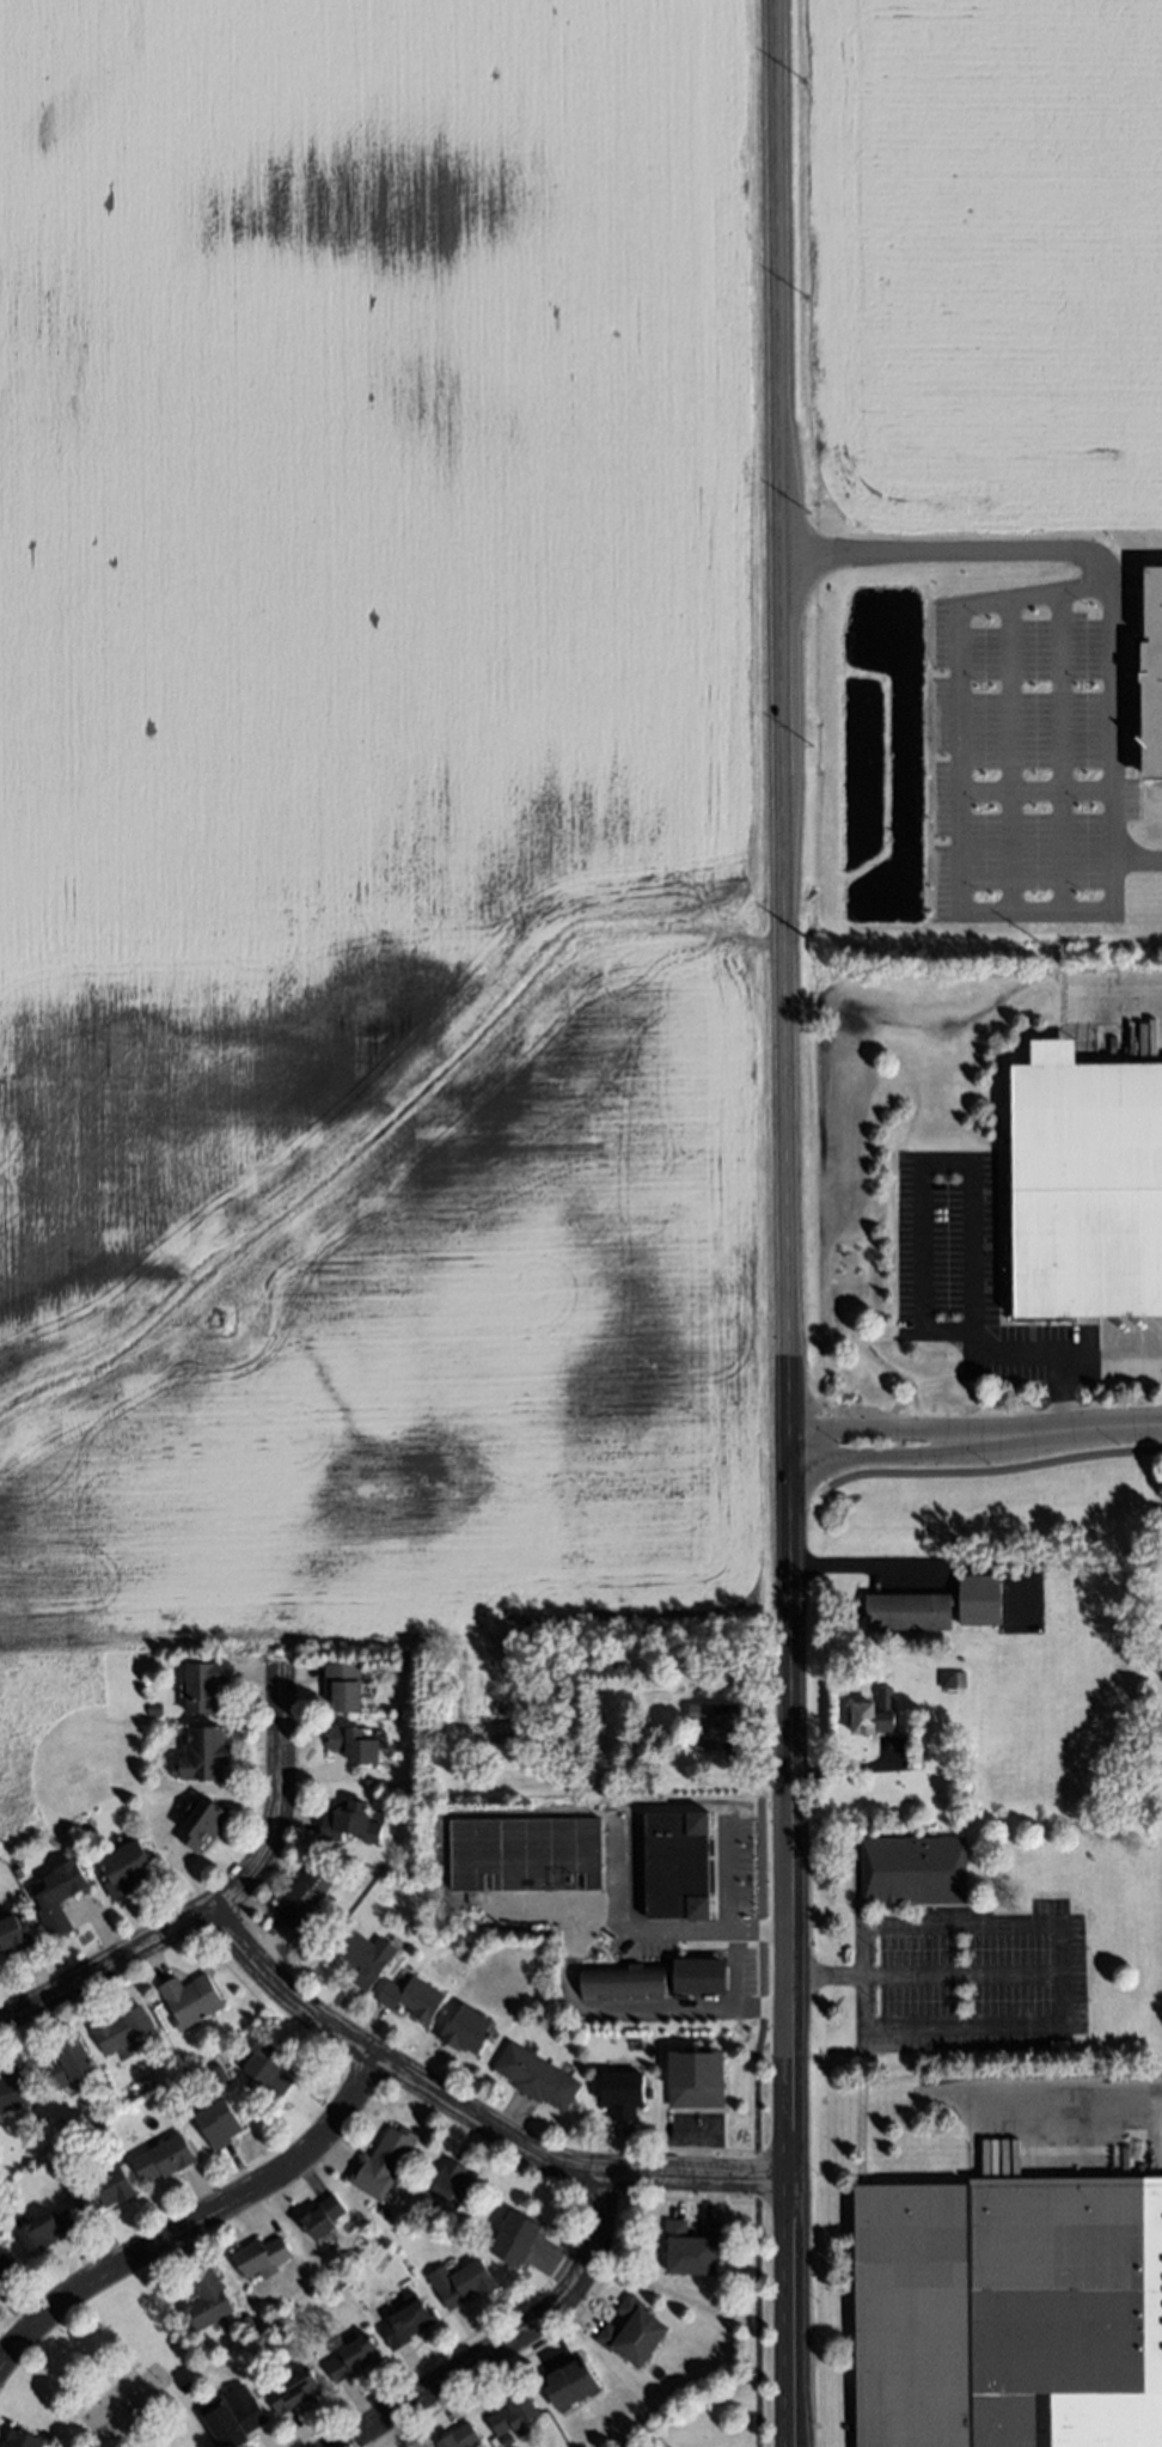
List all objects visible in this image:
crop: (987, 425)
road: (955, 554)
building: (1155, 578)
road: (964, 653)
road: (1142, 861)
road: (785, 971)
building: (1087, 1184)
road: (974, 1204)
road: (1113, 1354)
road: (917, 1427)
road: (1102, 1432)
road: (916, 1459)
road: (990, 1471)
road: (867, 1567)
building: (940, 1606)
building: (953, 1680)
building: (341, 1685)
building: (202, 1688)
building: (717, 1716)
building: (873, 1717)
building: (704, 1743)
building: (351, 1749)
building: (208, 1753)
road: (846, 1769)
building: (608, 1782)
building: (192, 1824)
building: (353, 1824)
building: (679, 1866)
building: (123, 1869)
building: (913, 1872)
road: (226, 1898)
building: (59, 1899)
building: (300, 1900)
road: (959, 1927)
building: (14, 1935)
building: (369, 1958)
building: (699, 1972)
building: (624, 1981)
road: (1058, 1994)
building: (414, 1999)
building: (189, 2002)
road: (689, 2009)
building: (118, 2032)
building: (466, 2033)
building: (66, 2063)
building: (268, 2073)
building: (701, 2075)
building: (534, 2079)
road: (1056, 2091)
building: (13, 2093)
building: (625, 2093)
road: (470, 2116)
building: (218, 2123)
building: (68, 2143)
building: (164, 2159)
building: (379, 2162)
building: (439, 2186)
building: (102, 2190)
road: (791, 2195)
building: (381, 2210)
building: (322, 2217)
road: (198, 2221)
building: (47, 2229)
road: (757, 2232)
building: (515, 2239)
building: (692, 2247)
building: (261, 2257)
building: (5, 2264)
building: (460, 2281)
building: (207, 2301)
building: (1009, 2312)
building: (249, 2321)
building: (408, 2321)
building: (632, 2332)
road: (512, 2339)
building: (351, 2360)
park: (120, 2384)
building: (570, 2385)
building: (185, 2387)
building: (293, 2391)
building: (513, 2414)
building: (234, 2416)
building: (458, 2437)
building: (22, 2439)

